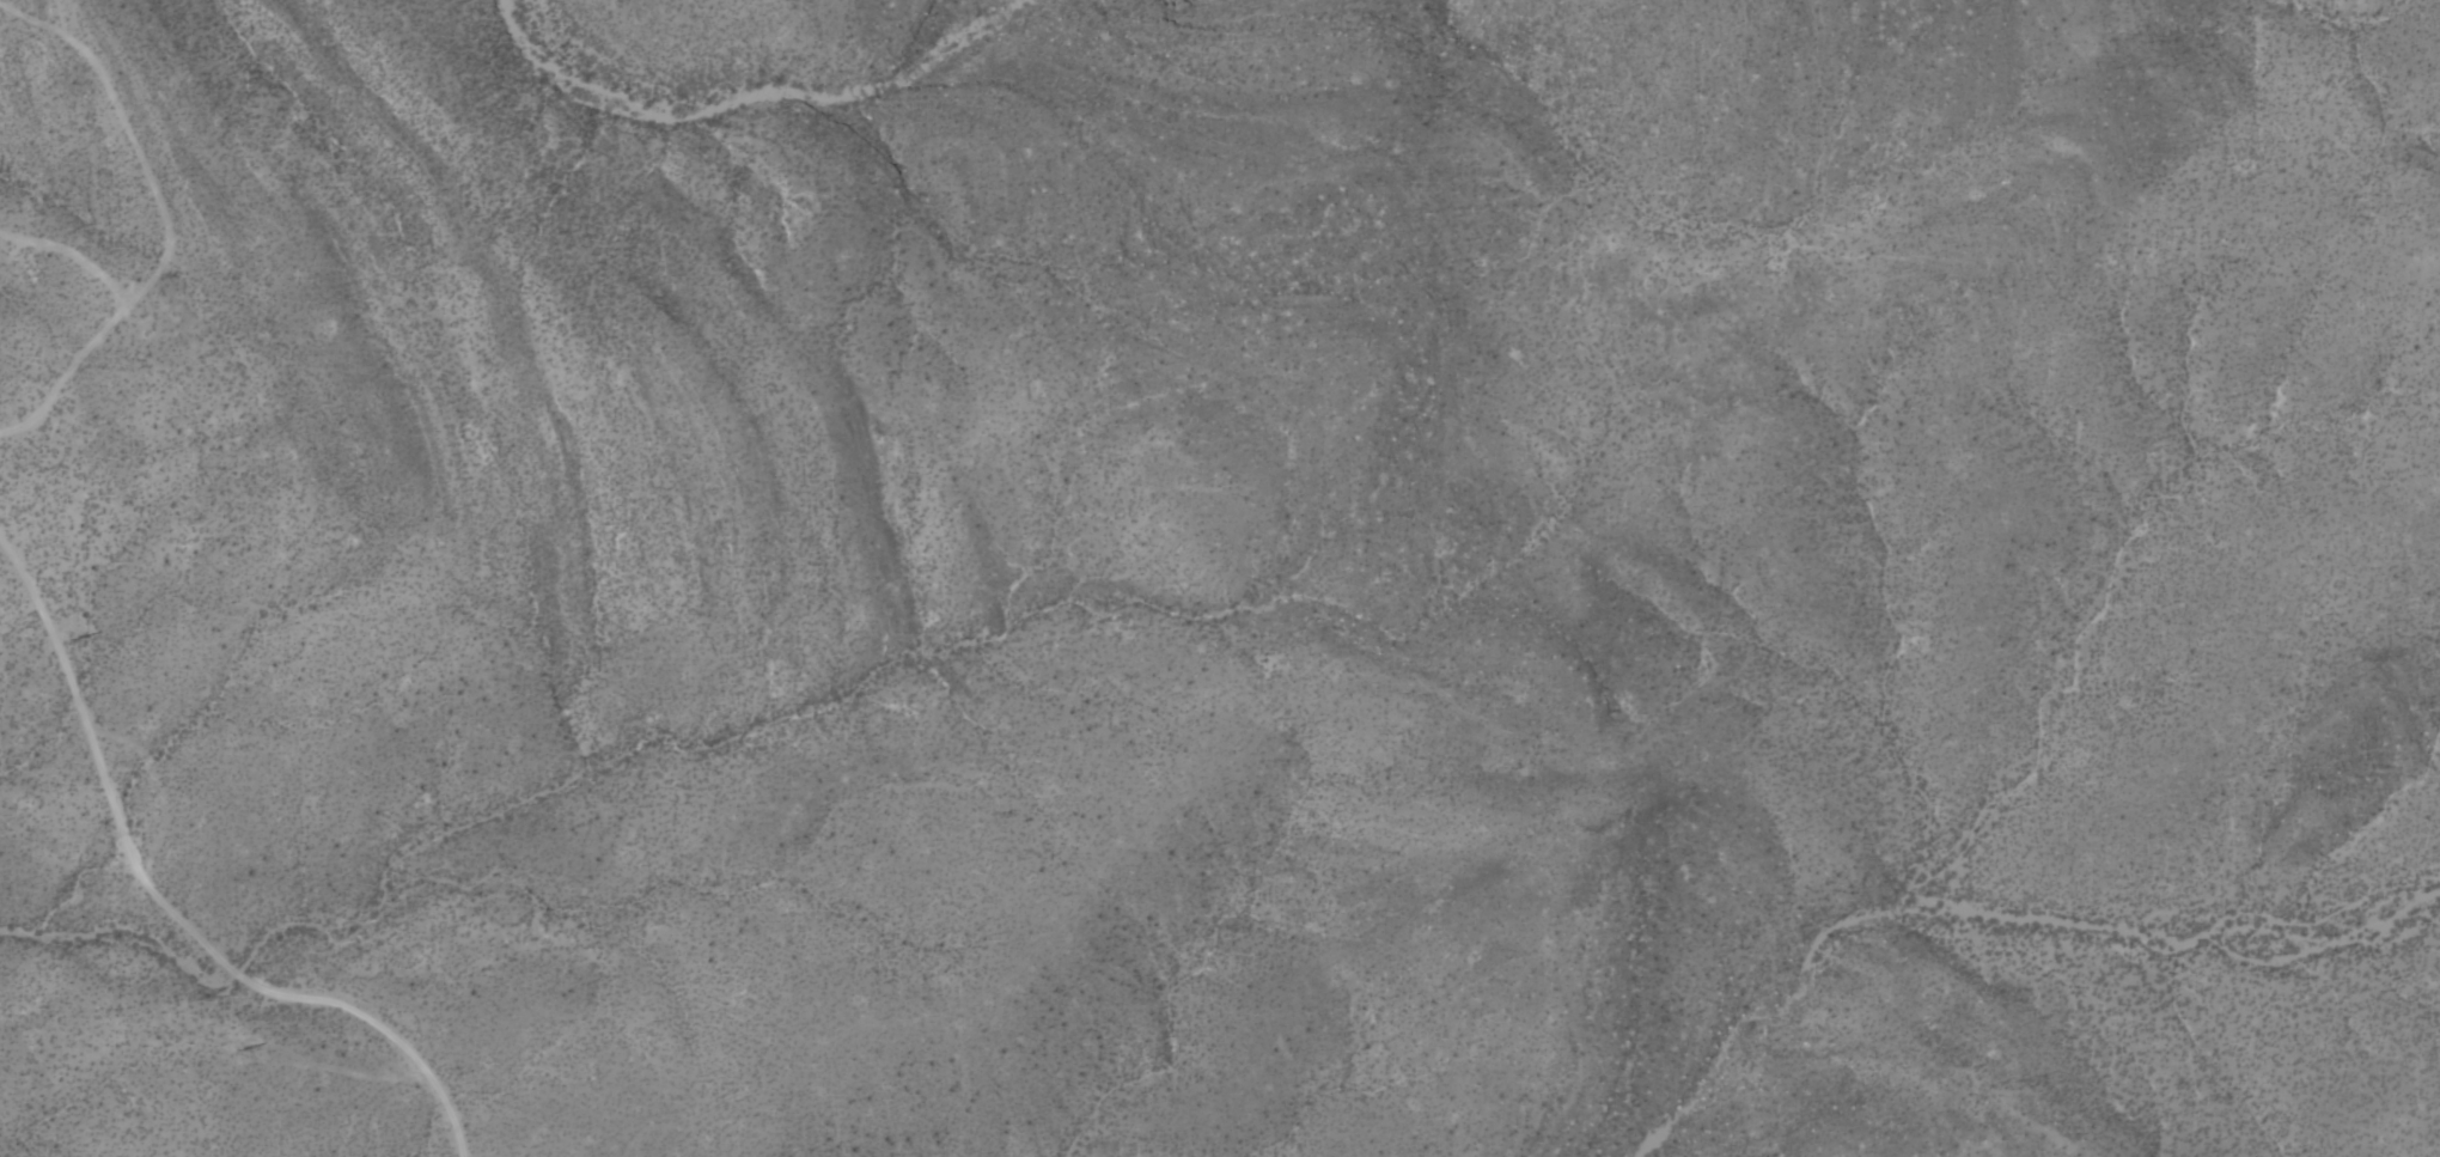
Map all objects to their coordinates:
power tower: (74, 638)
road: (167, 911)
power tower: (240, 1052)

